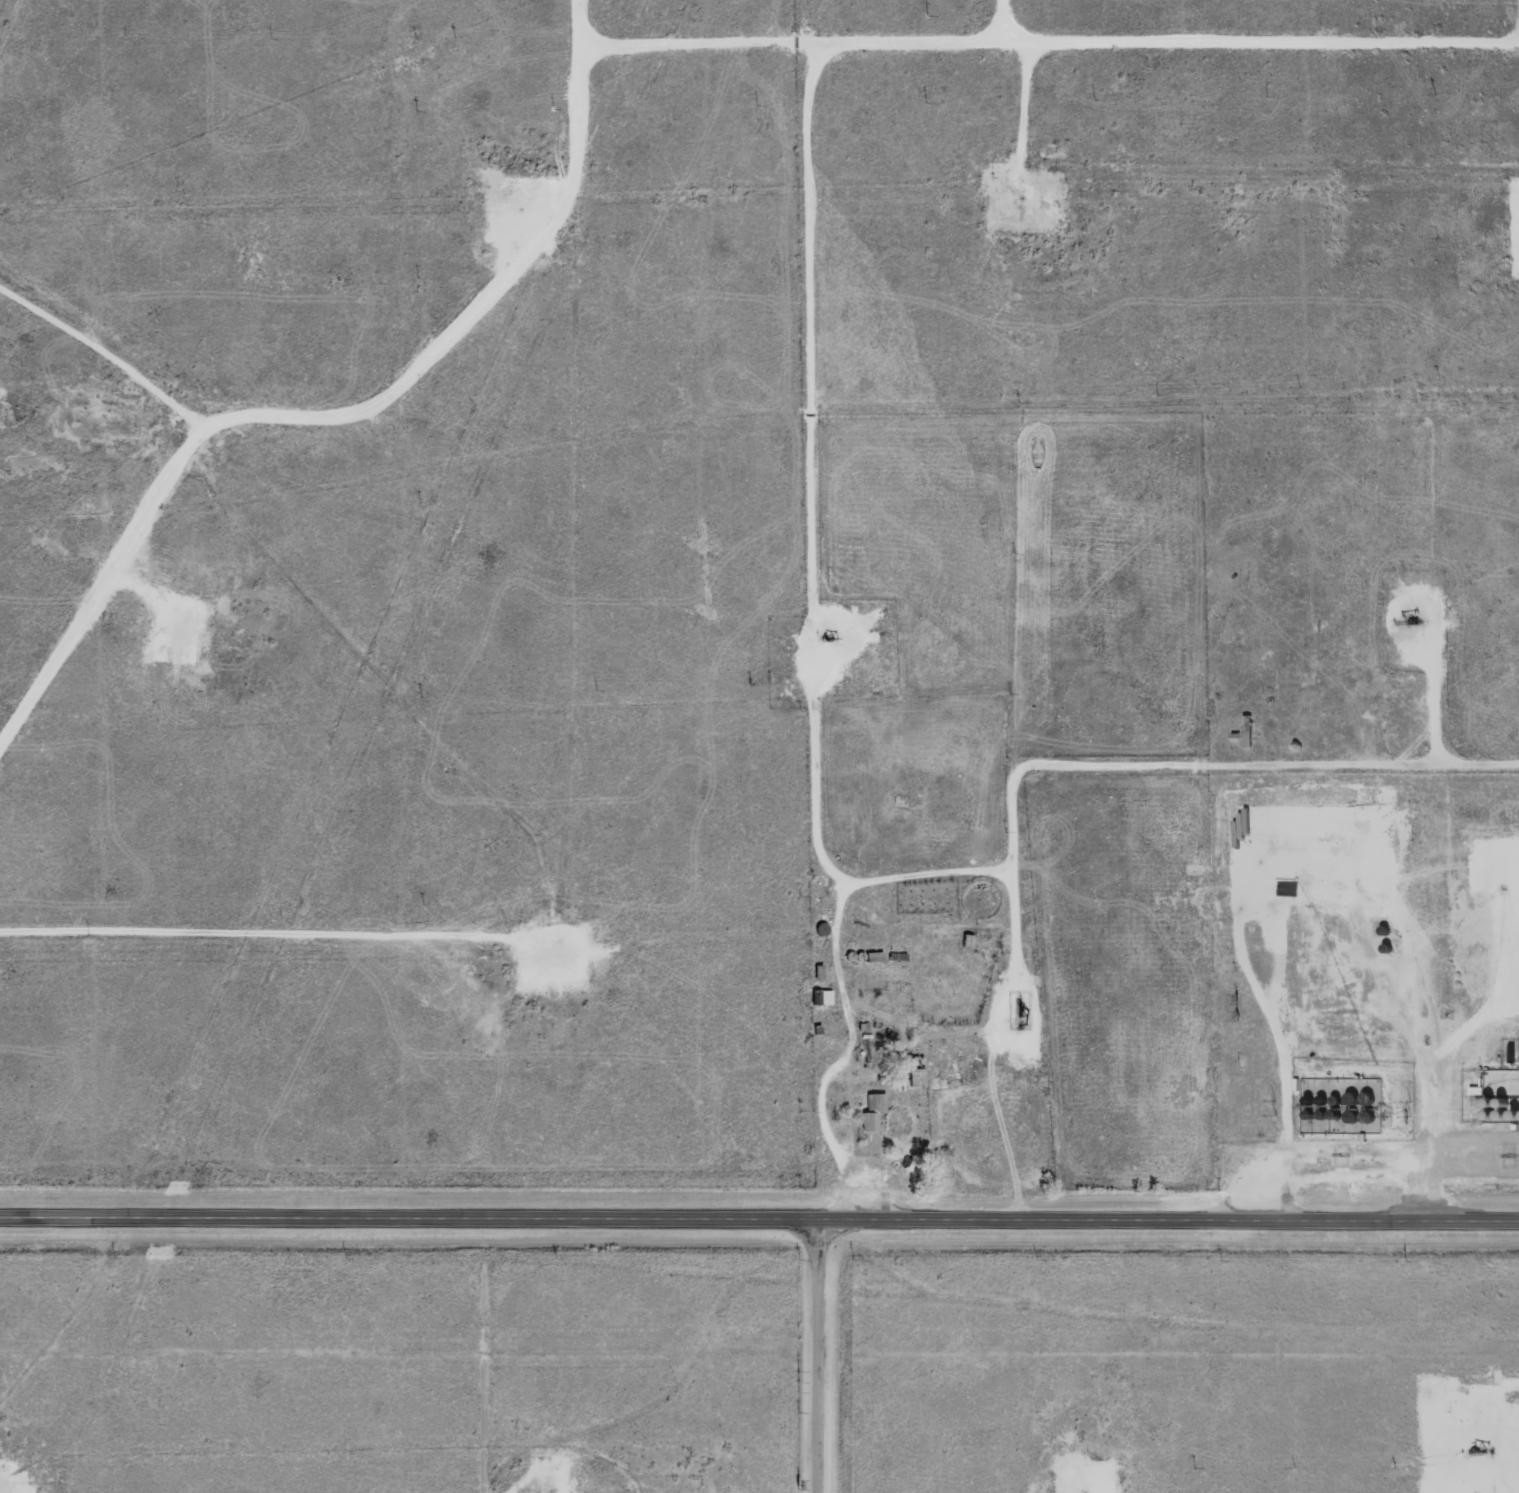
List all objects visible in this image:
road: (1242, 44)
road: (96, 384)
road: (326, 399)
road: (1137, 768)
road: (226, 938)
road: (759, 1221)
road: (824, 1357)
road: (517, 1470)

